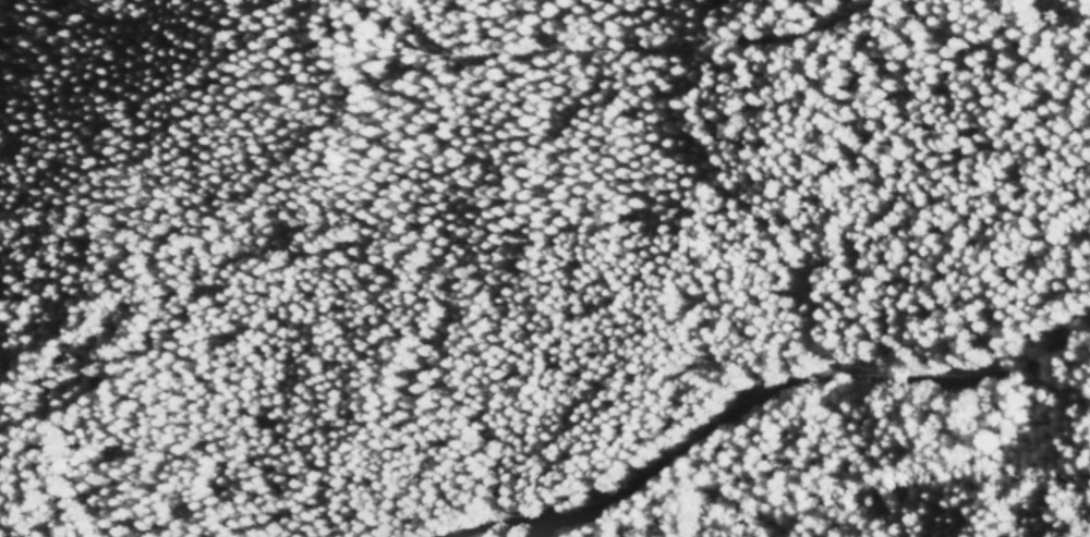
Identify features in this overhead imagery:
road: (759, 391)

